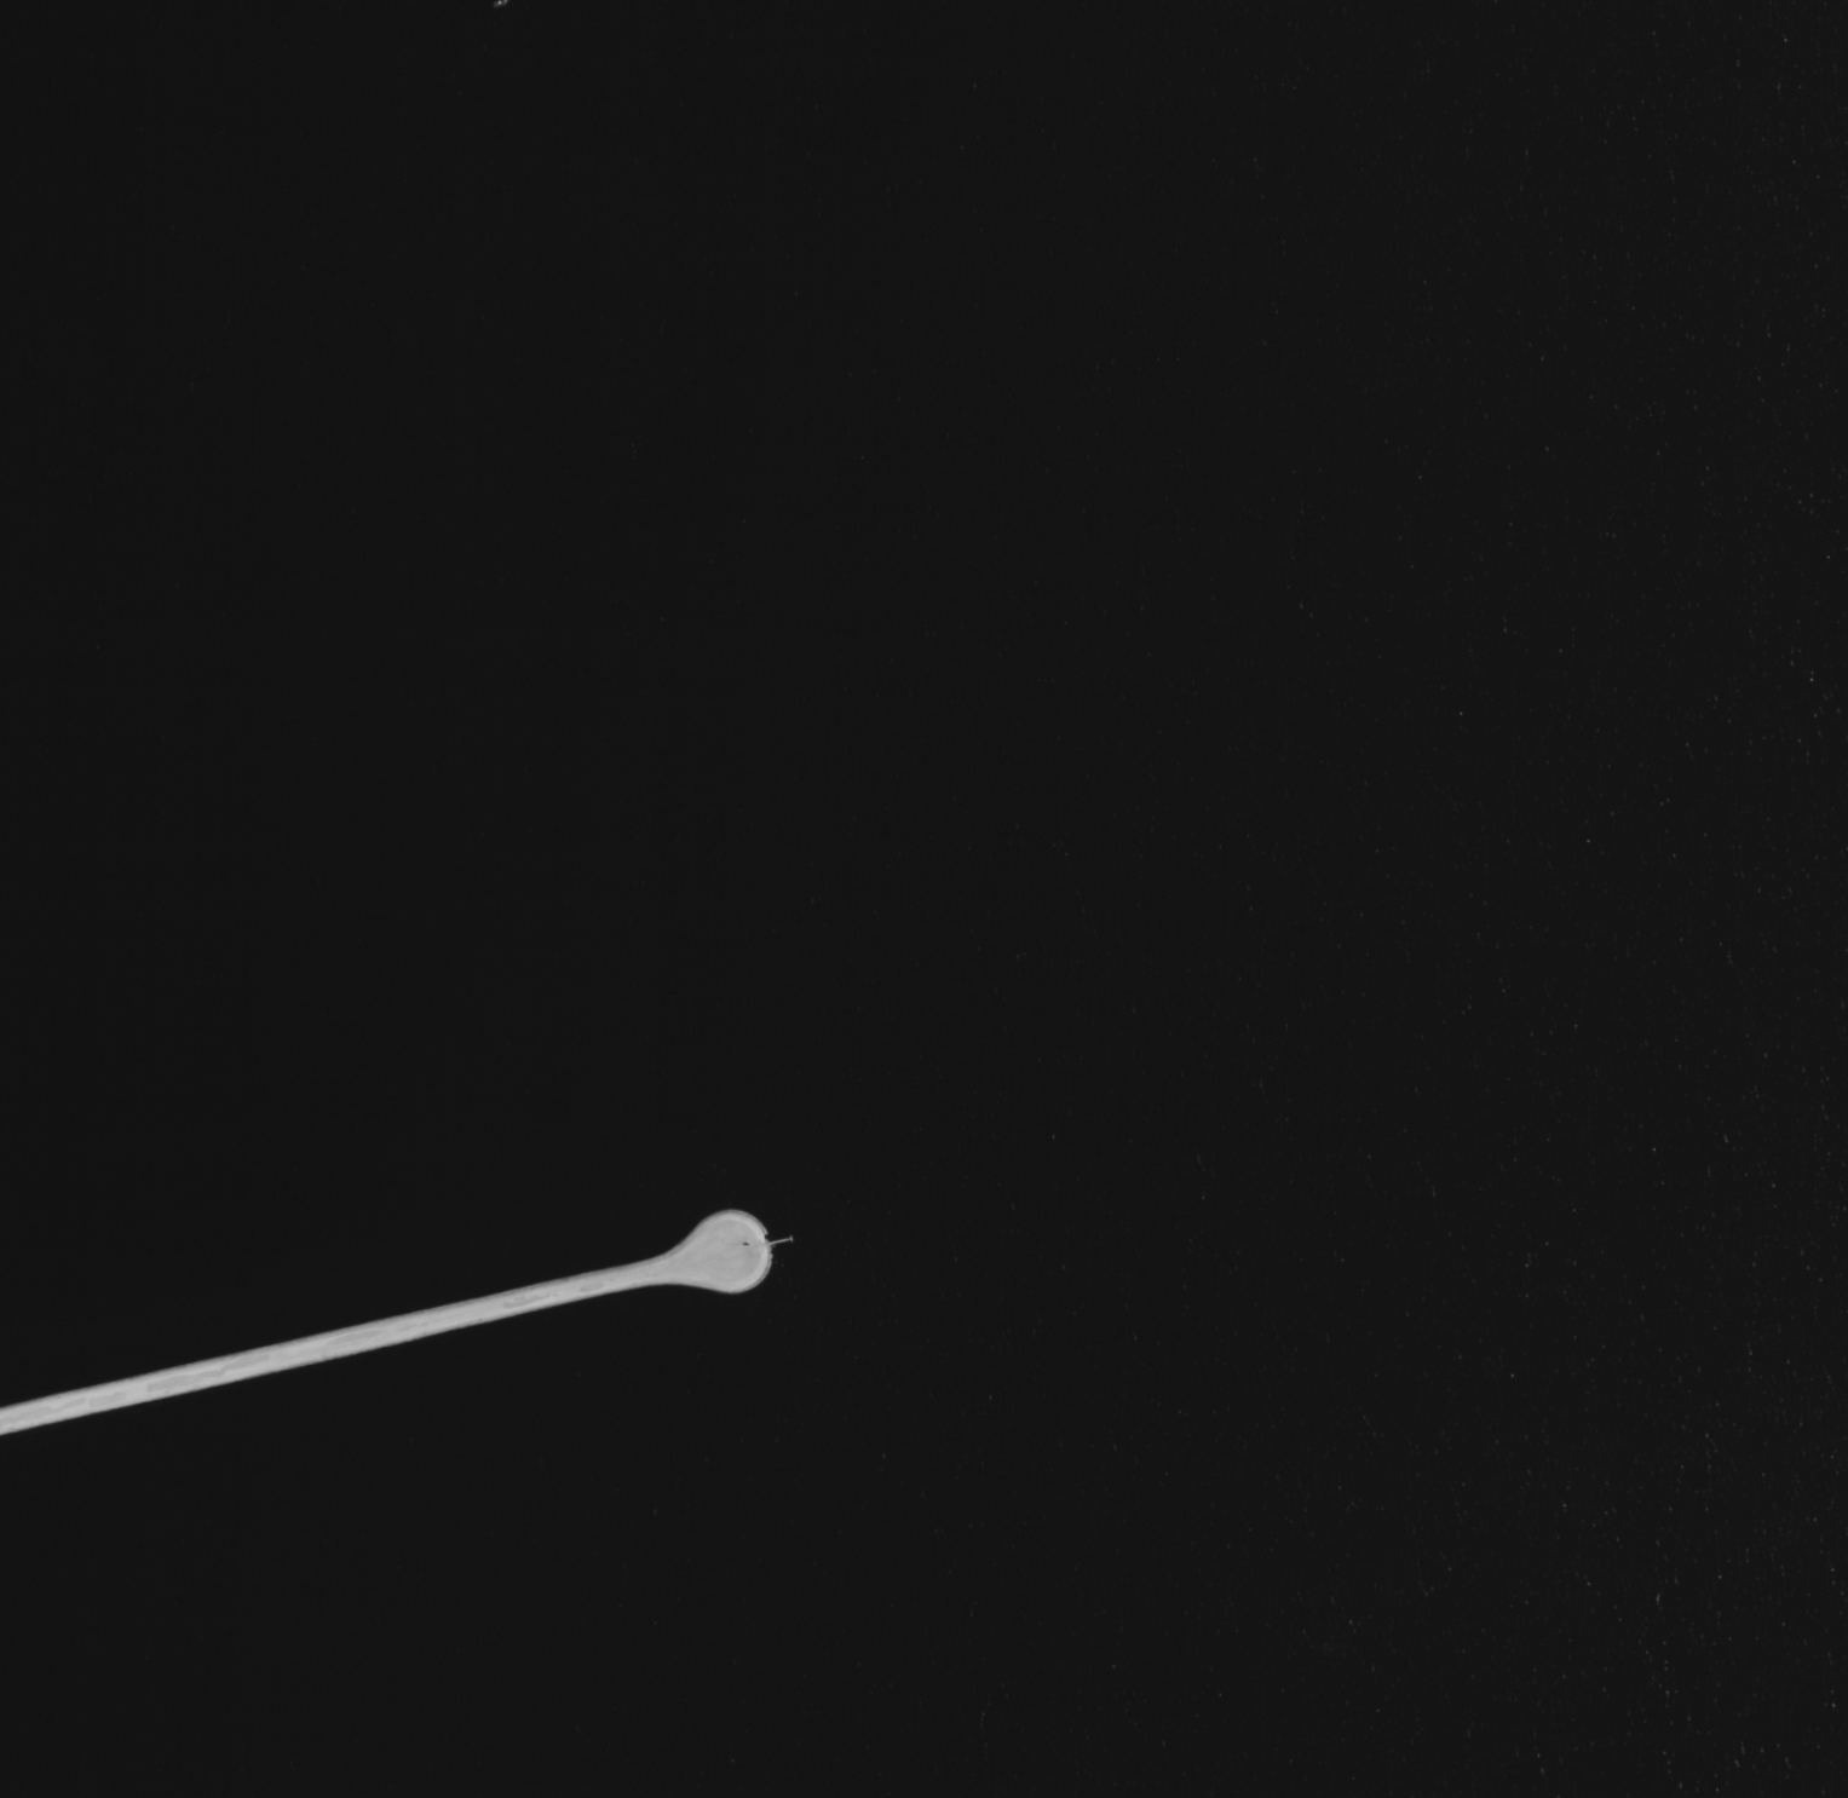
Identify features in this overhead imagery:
road: (365, 1333)

